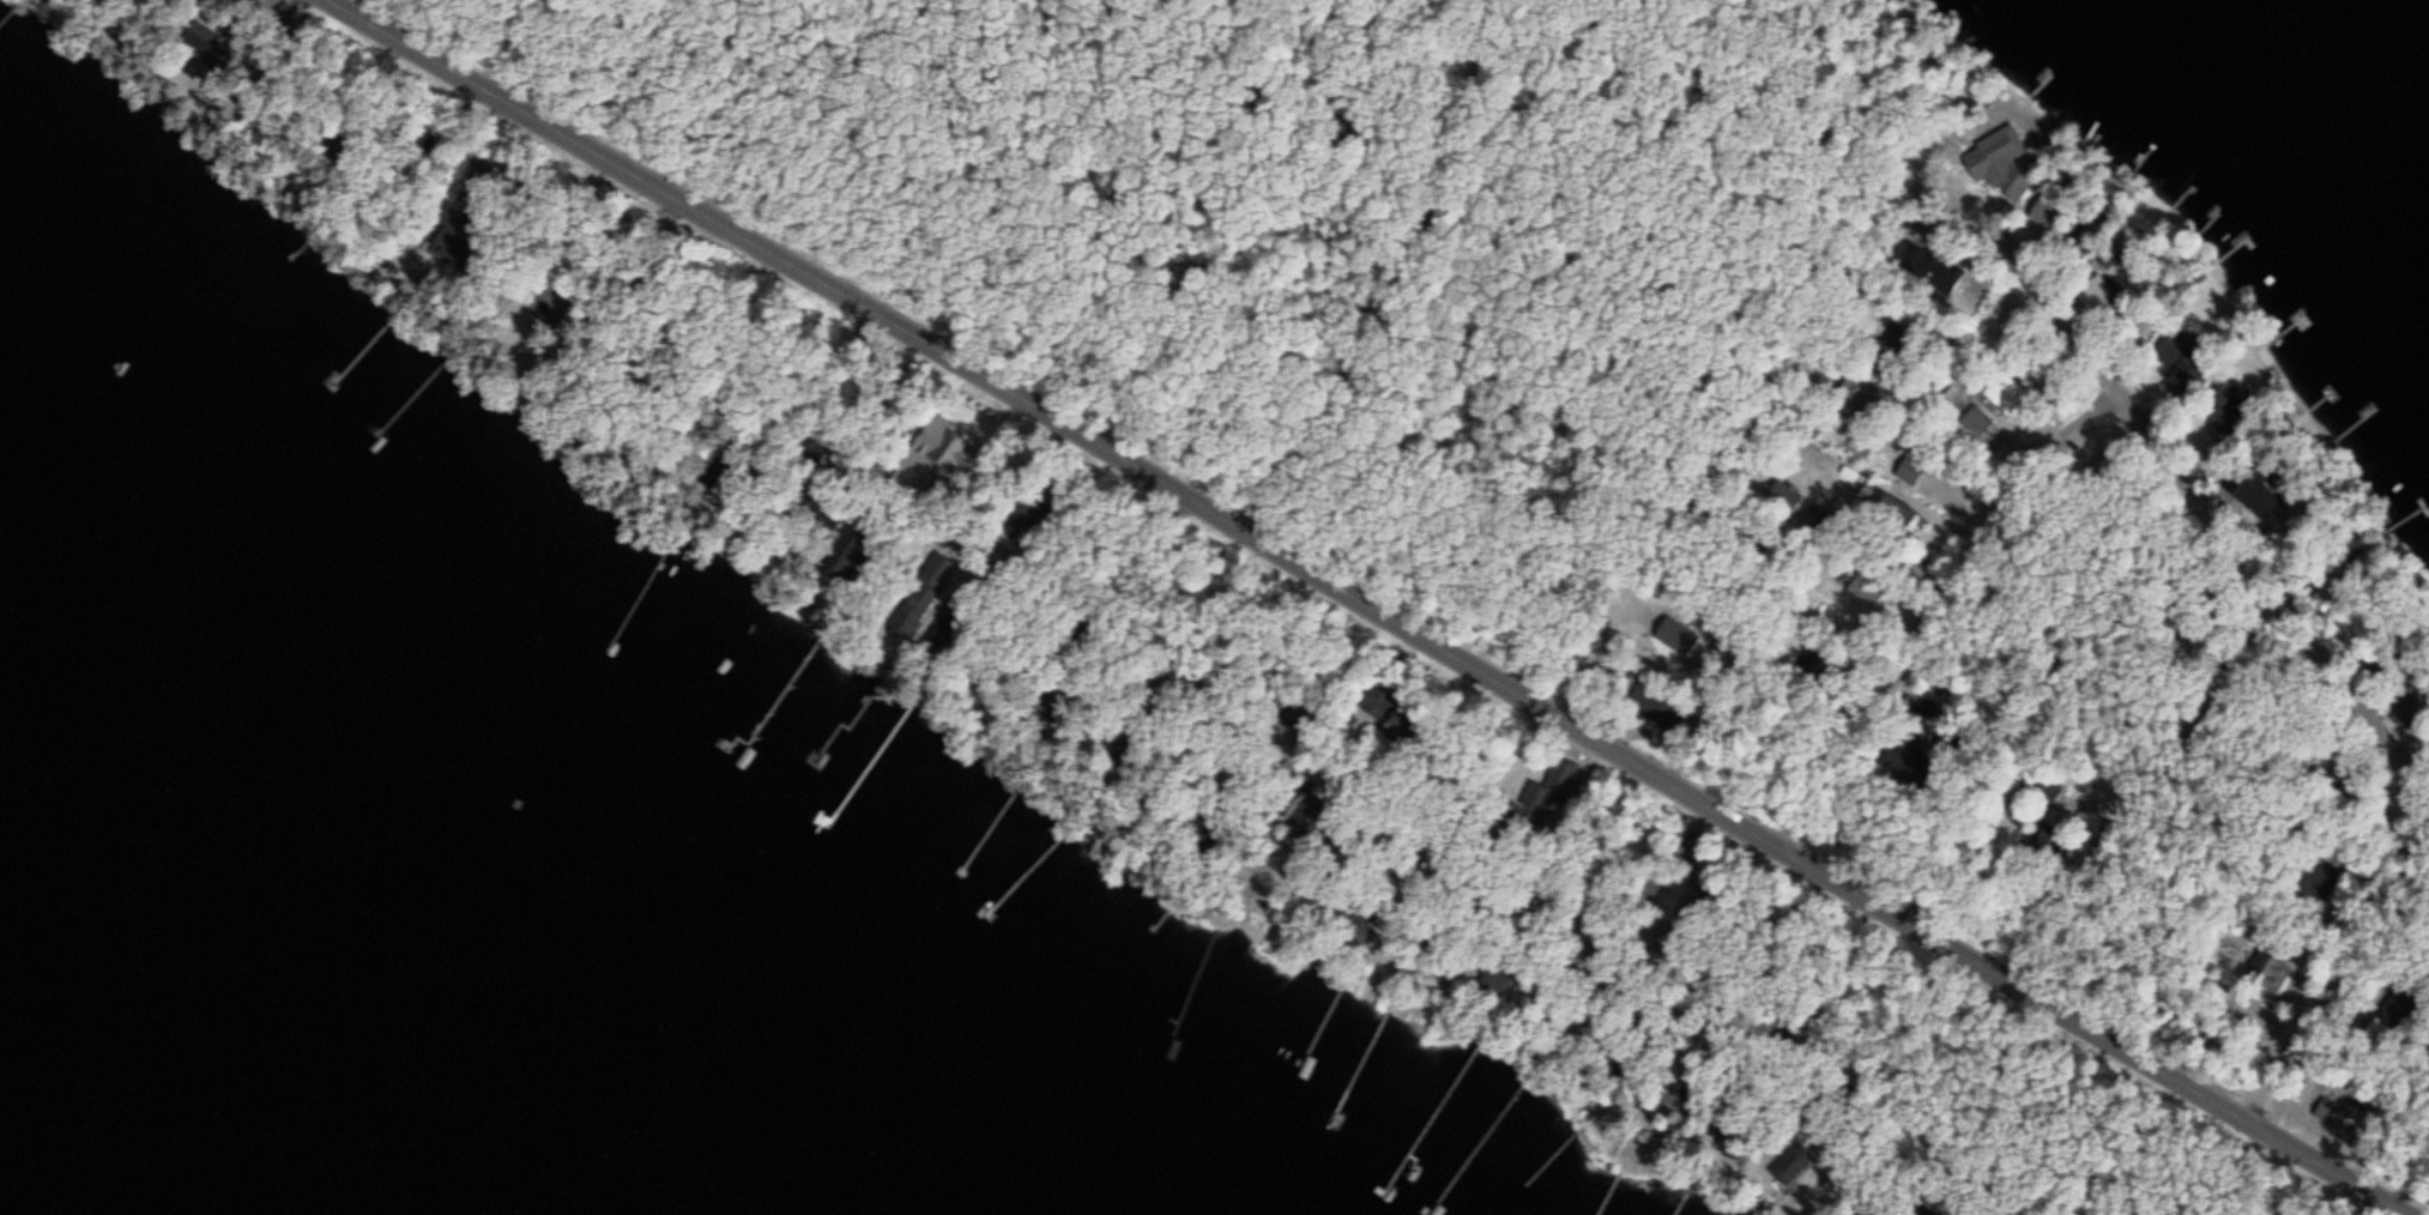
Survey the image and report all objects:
road: (1015, 151)
building: (1990, 157)
road: (1196, 214)
road: (1397, 285)
road: (1138, 382)
building: (1859, 393)
building: (2006, 395)
building: (1953, 404)
building: (1974, 425)
building: (935, 427)
building: (1860, 442)
building: (1909, 472)
road: (2182, 484)
parking lot: (1190, 490)
road: (1694, 506)
road: (1364, 609)
road: (1938, 611)
road: (1346, 787)
road: (2139, 793)
building: (1355, 921)
road: (2334, 985)
road: (2203, 1175)

